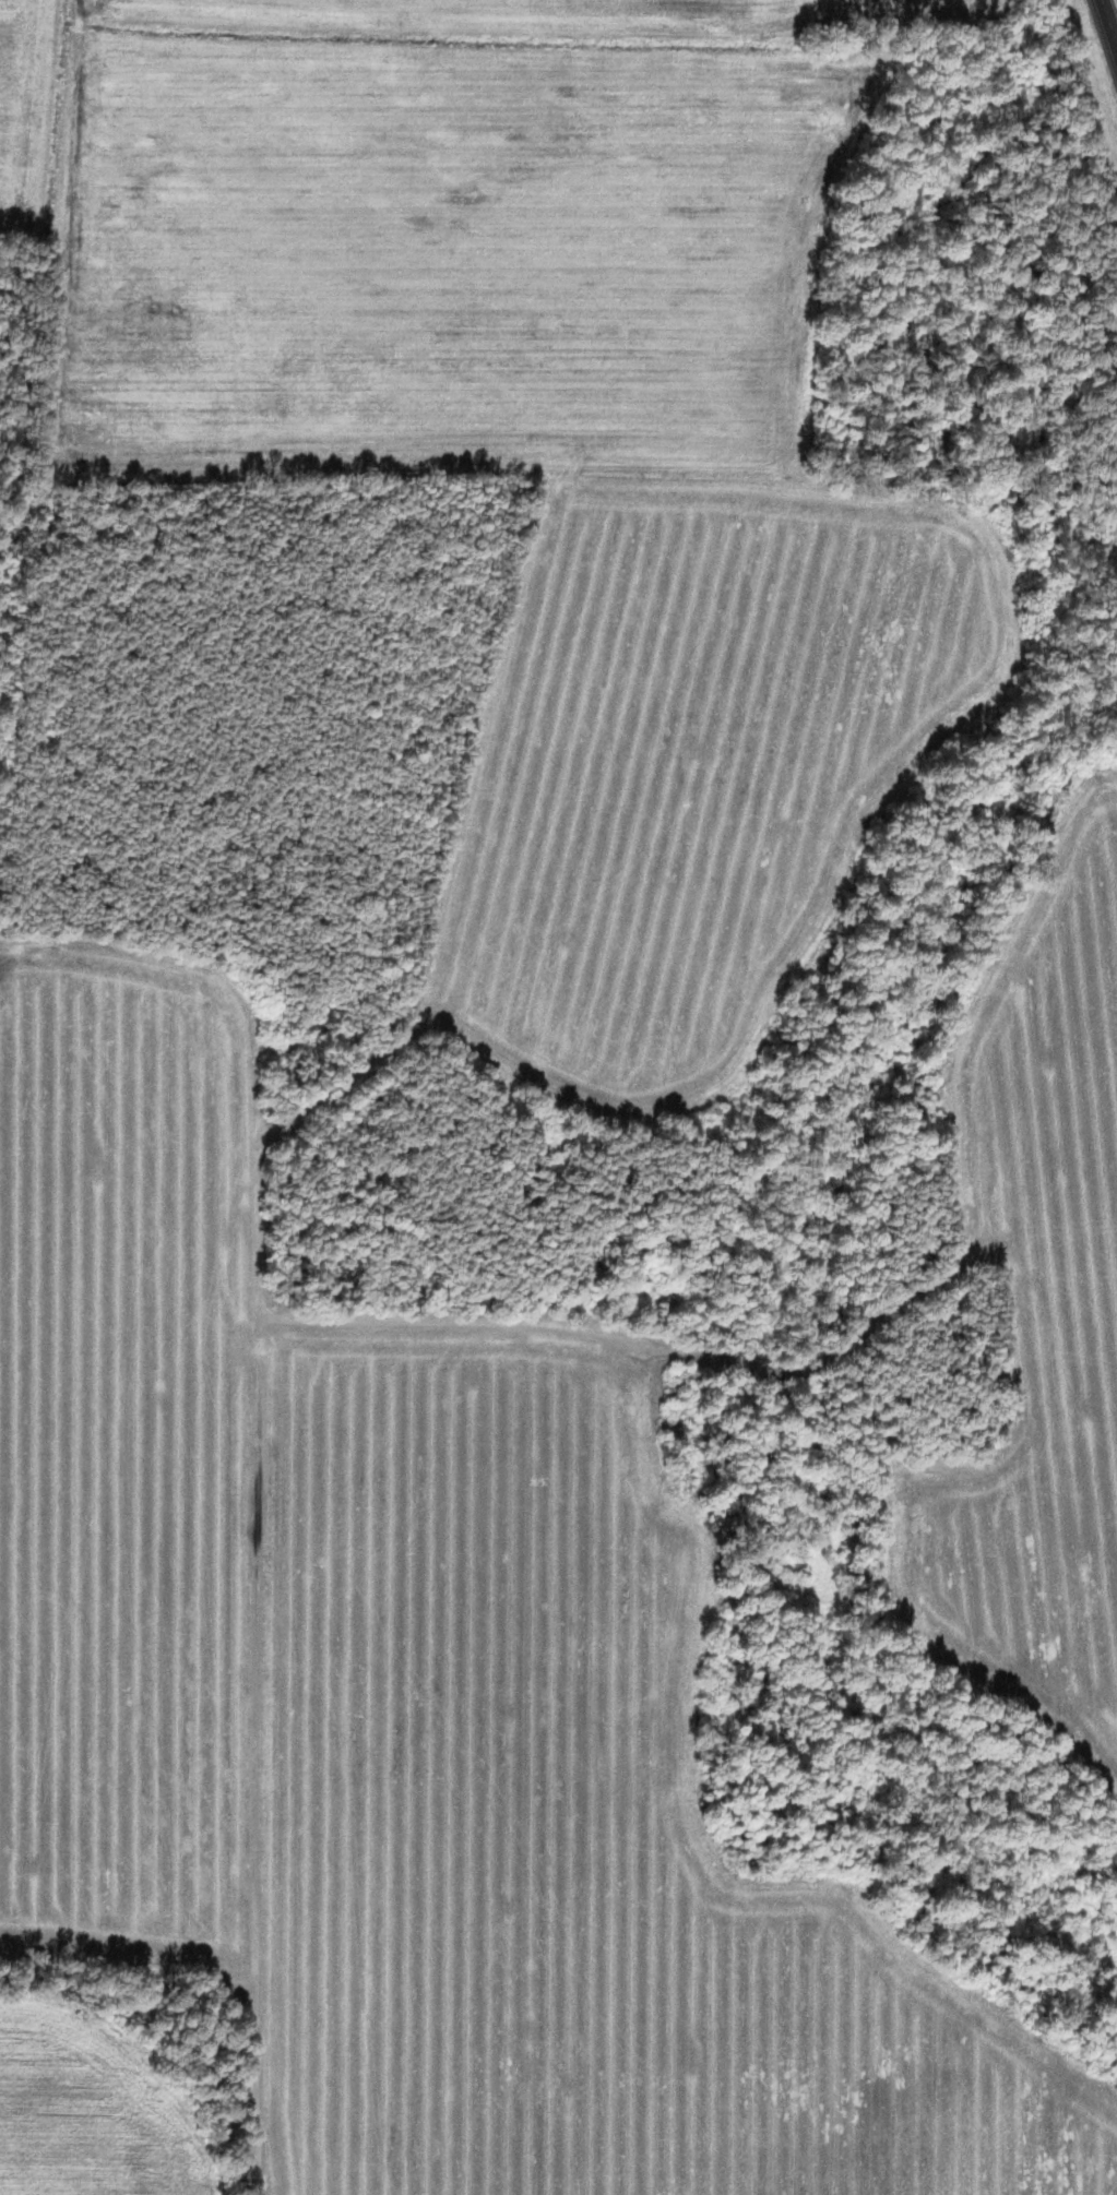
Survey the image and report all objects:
road: (1109, 20)
crop: (1031, 1299)

